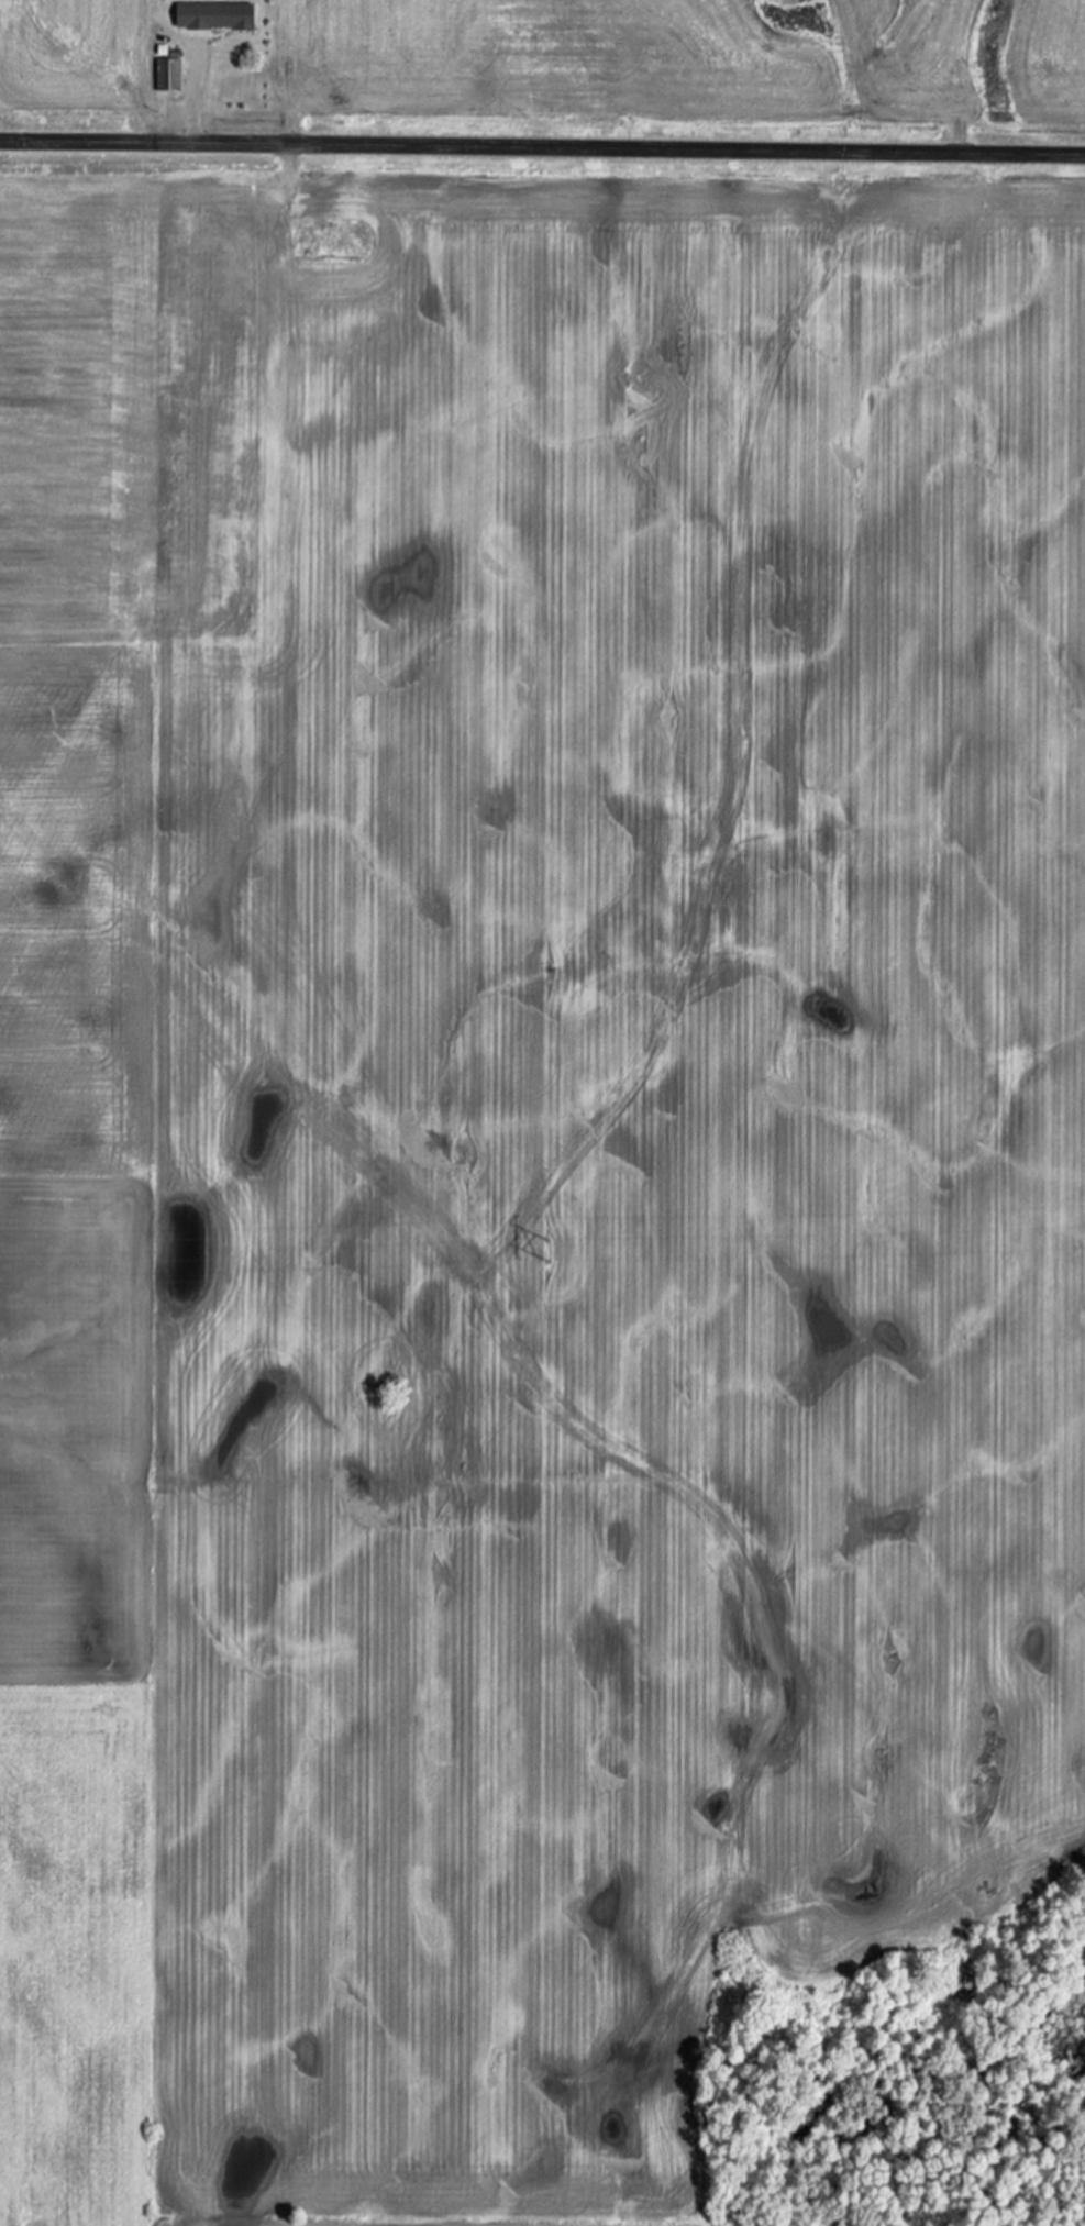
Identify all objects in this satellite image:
building: (214, 16)
road: (195, 101)
road: (542, 144)
power tower: (544, 1253)

